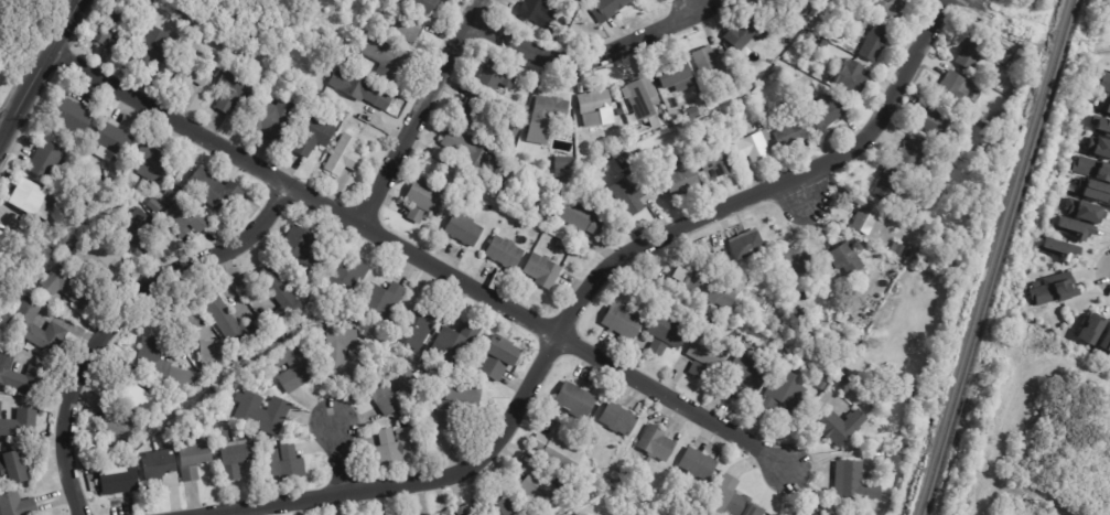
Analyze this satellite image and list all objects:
building: (751, 0)
building: (756, 1)
road: (985, 3)
building: (9, 6)
building: (424, 6)
building: (610, 9)
building: (892, 11)
building: (538, 13)
building: (791, 13)
building: (111, 25)
building: (181, 25)
building: (407, 25)
building: (263, 28)
building: (822, 28)
building: (0, 29)
building: (289, 30)
building: (563, 33)
building: (744, 33)
building: (840, 39)
building: (825, 44)
building: (875, 44)
road: (1043, 44)
building: (154, 50)
building: (969, 50)
building: (387, 57)
road: (585, 57)
building: (712, 64)
road: (39, 69)
building: (195, 71)
building: (676, 74)
building: (497, 76)
building: (776, 76)
building: (851, 76)
building: (1103, 83)
building: (951, 88)
building: (293, 89)
building: (235, 90)
building: (362, 90)
building: (642, 98)
building: (1106, 103)
building: (477, 109)
building: (552, 109)
building: (600, 109)
road: (419, 111)
building: (830, 112)
building: (694, 114)
building: (723, 115)
building: (75, 118)
building: (272, 118)
building: (933, 119)
building: (710, 120)
building: (761, 124)
building: (1102, 126)
road: (2, 128)
building: (514, 133)
building: (791, 133)
building: (313, 135)
building: (114, 140)
building: (532, 143)
building: (1068, 144)
building: (1098, 146)
building: (755, 147)
building: (978, 150)
building: (474, 152)
building: (912, 154)
building: (345, 157)
building: (49, 160)
building: (563, 163)
building: (154, 164)
building: (720, 164)
building: (1091, 168)
building: (925, 174)
building: (685, 180)
building: (886, 182)
building: (946, 183)
road: (801, 185)
building: (1092, 189)
building: (216, 191)
building: (140, 192)
building: (631, 195)
building: (34, 199)
building: (424, 200)
building: (155, 206)
building: (1082, 210)
building: (862, 213)
building: (185, 215)
building: (580, 215)
building: (1069, 227)
building: (465, 229)
building: (137, 232)
building: (743, 244)
building: (10, 248)
building: (1057, 248)
building: (705, 249)
building: (896, 249)
building: (719, 250)
building: (303, 254)
building: (506, 254)
road: (418, 256)
building: (98, 257)
railway: (996, 257)
building: (791, 259)
building: (843, 259)
building: (542, 271)
building: (0, 273)
building: (347, 281)
building: (704, 285)
building: (71, 286)
building: (1055, 289)
road: (581, 296)
building: (280, 299)
building: (385, 302)
building: (314, 305)
road: (119, 316)
building: (839, 318)
building: (619, 321)
building: (234, 324)
building: (1088, 328)
building: (39, 329)
building: (665, 329)
building: (416, 330)
building: (858, 330)
building: (779, 333)
building: (1104, 340)
building: (204, 341)
building: (457, 345)
building: (654, 346)
building: (705, 352)
building: (346, 355)
building: (497, 357)
building: (294, 365)
building: (166, 367)
building: (696, 369)
building: (745, 373)
building: (21, 376)
building: (395, 389)
building: (734, 391)
building: (780, 391)
building: (912, 394)
building: (213, 396)
building: (572, 399)
building: (141, 401)
building: (207, 401)
building: (457, 405)
building: (263, 414)
building: (616, 419)
building: (20, 423)
building: (122, 426)
building: (837, 426)
building: (654, 443)
building: (398, 446)
building: (556, 452)
road: (338, 458)
building: (237, 461)
building: (195, 462)
building: (696, 463)
building: (284, 464)
building: (14, 469)
building: (159, 469)
building: (850, 481)
building: (120, 483)
building: (532, 485)
building: (725, 498)
building: (18, 505)
building: (498, 505)
building: (457, 509)
building: (442, 512)
building: (811, 513)

